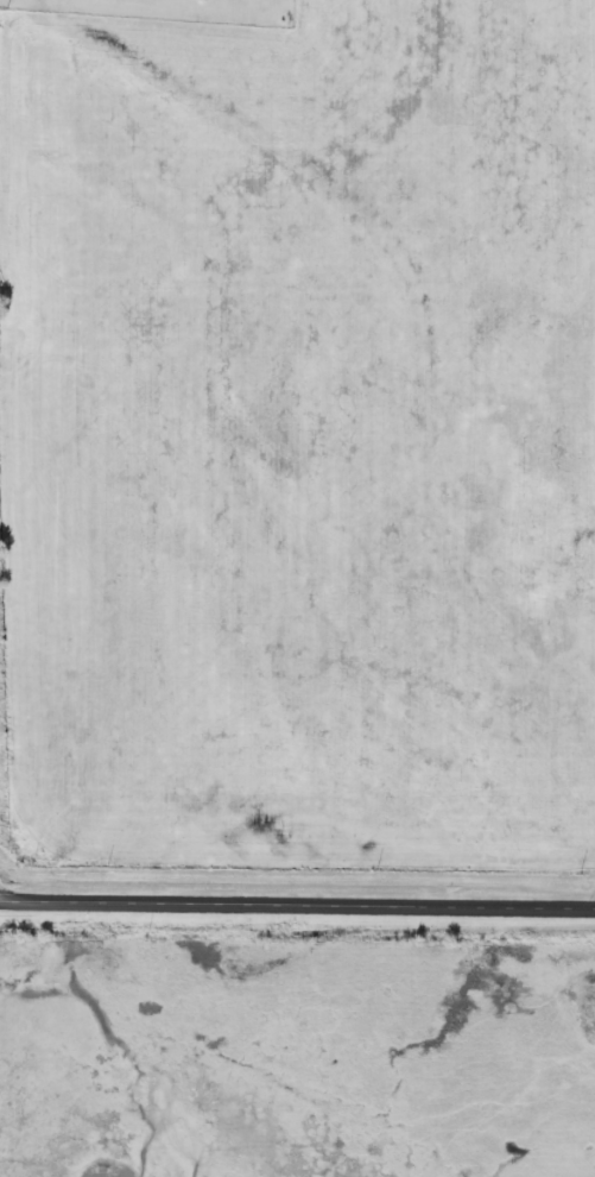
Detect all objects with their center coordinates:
road: (297, 902)

